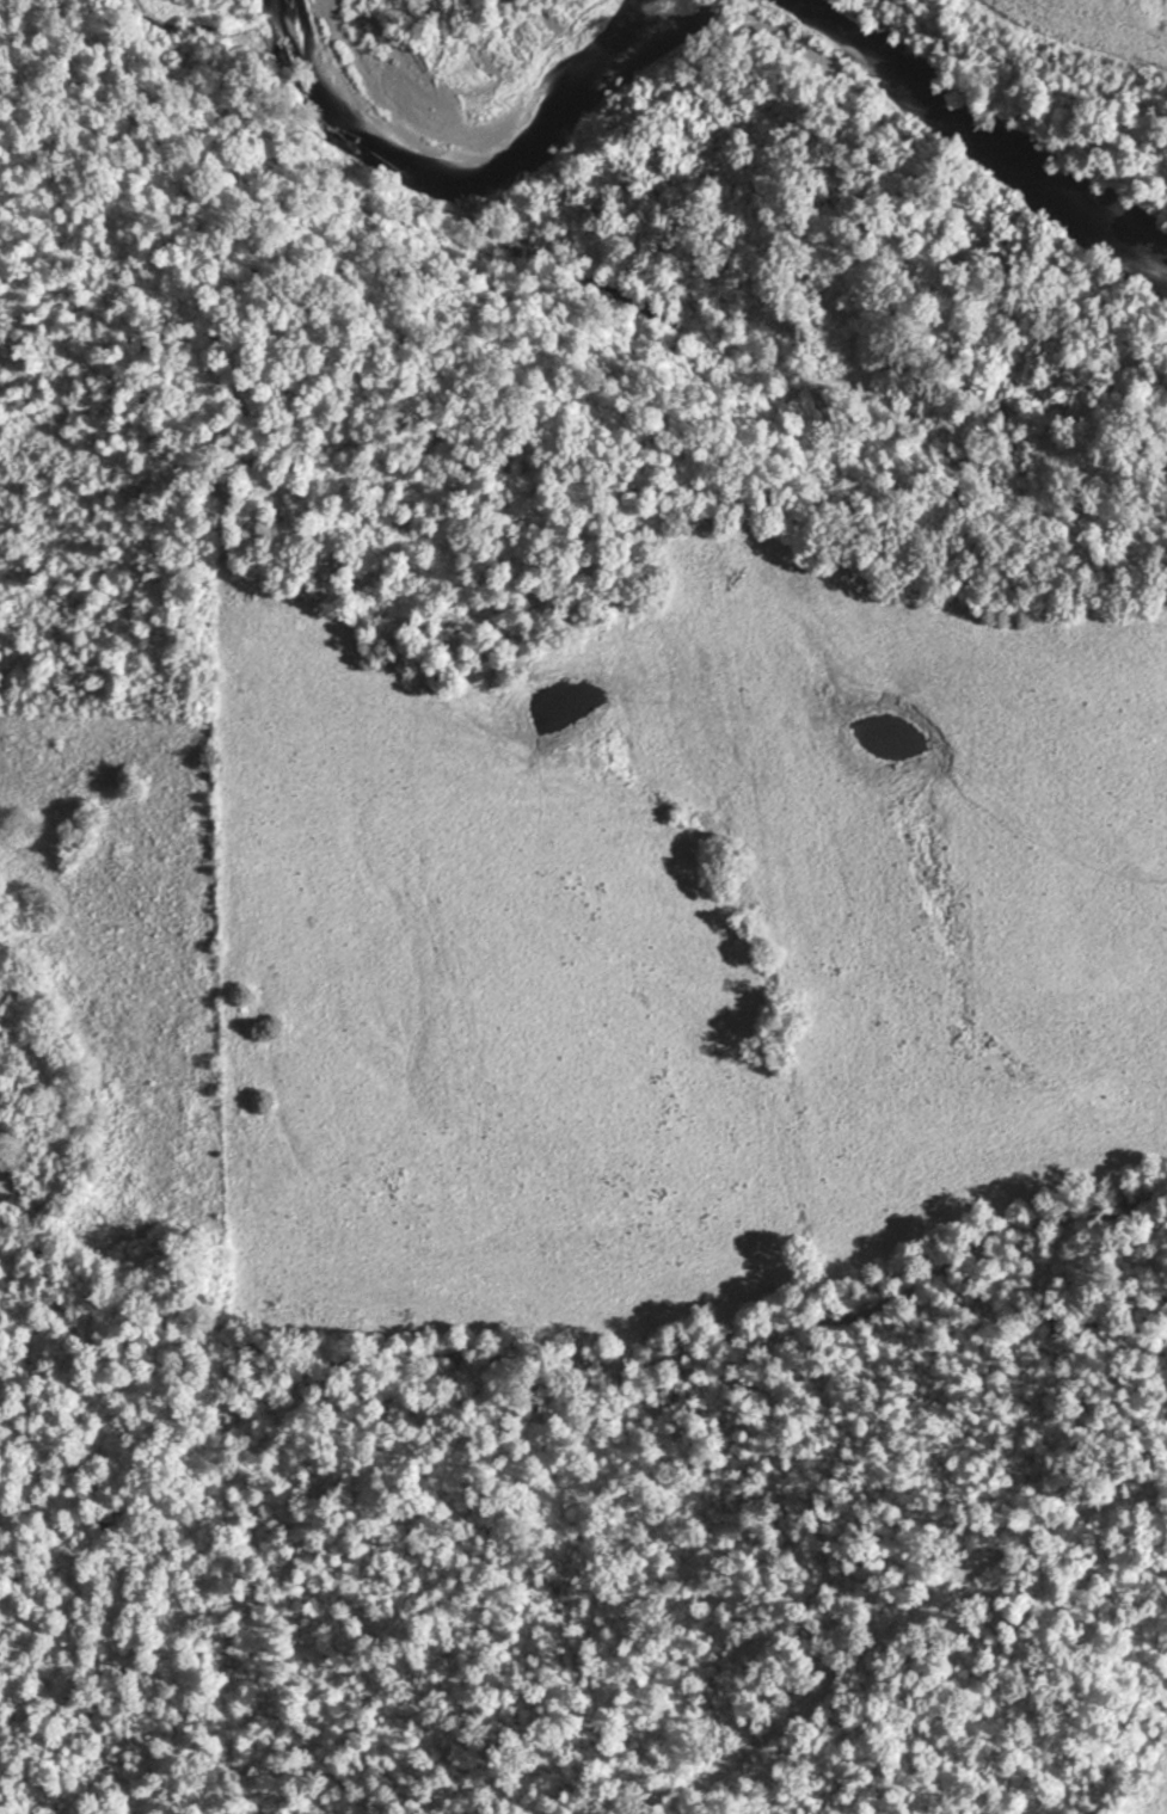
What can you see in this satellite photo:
river: (468, 84)
river: (984, 131)

